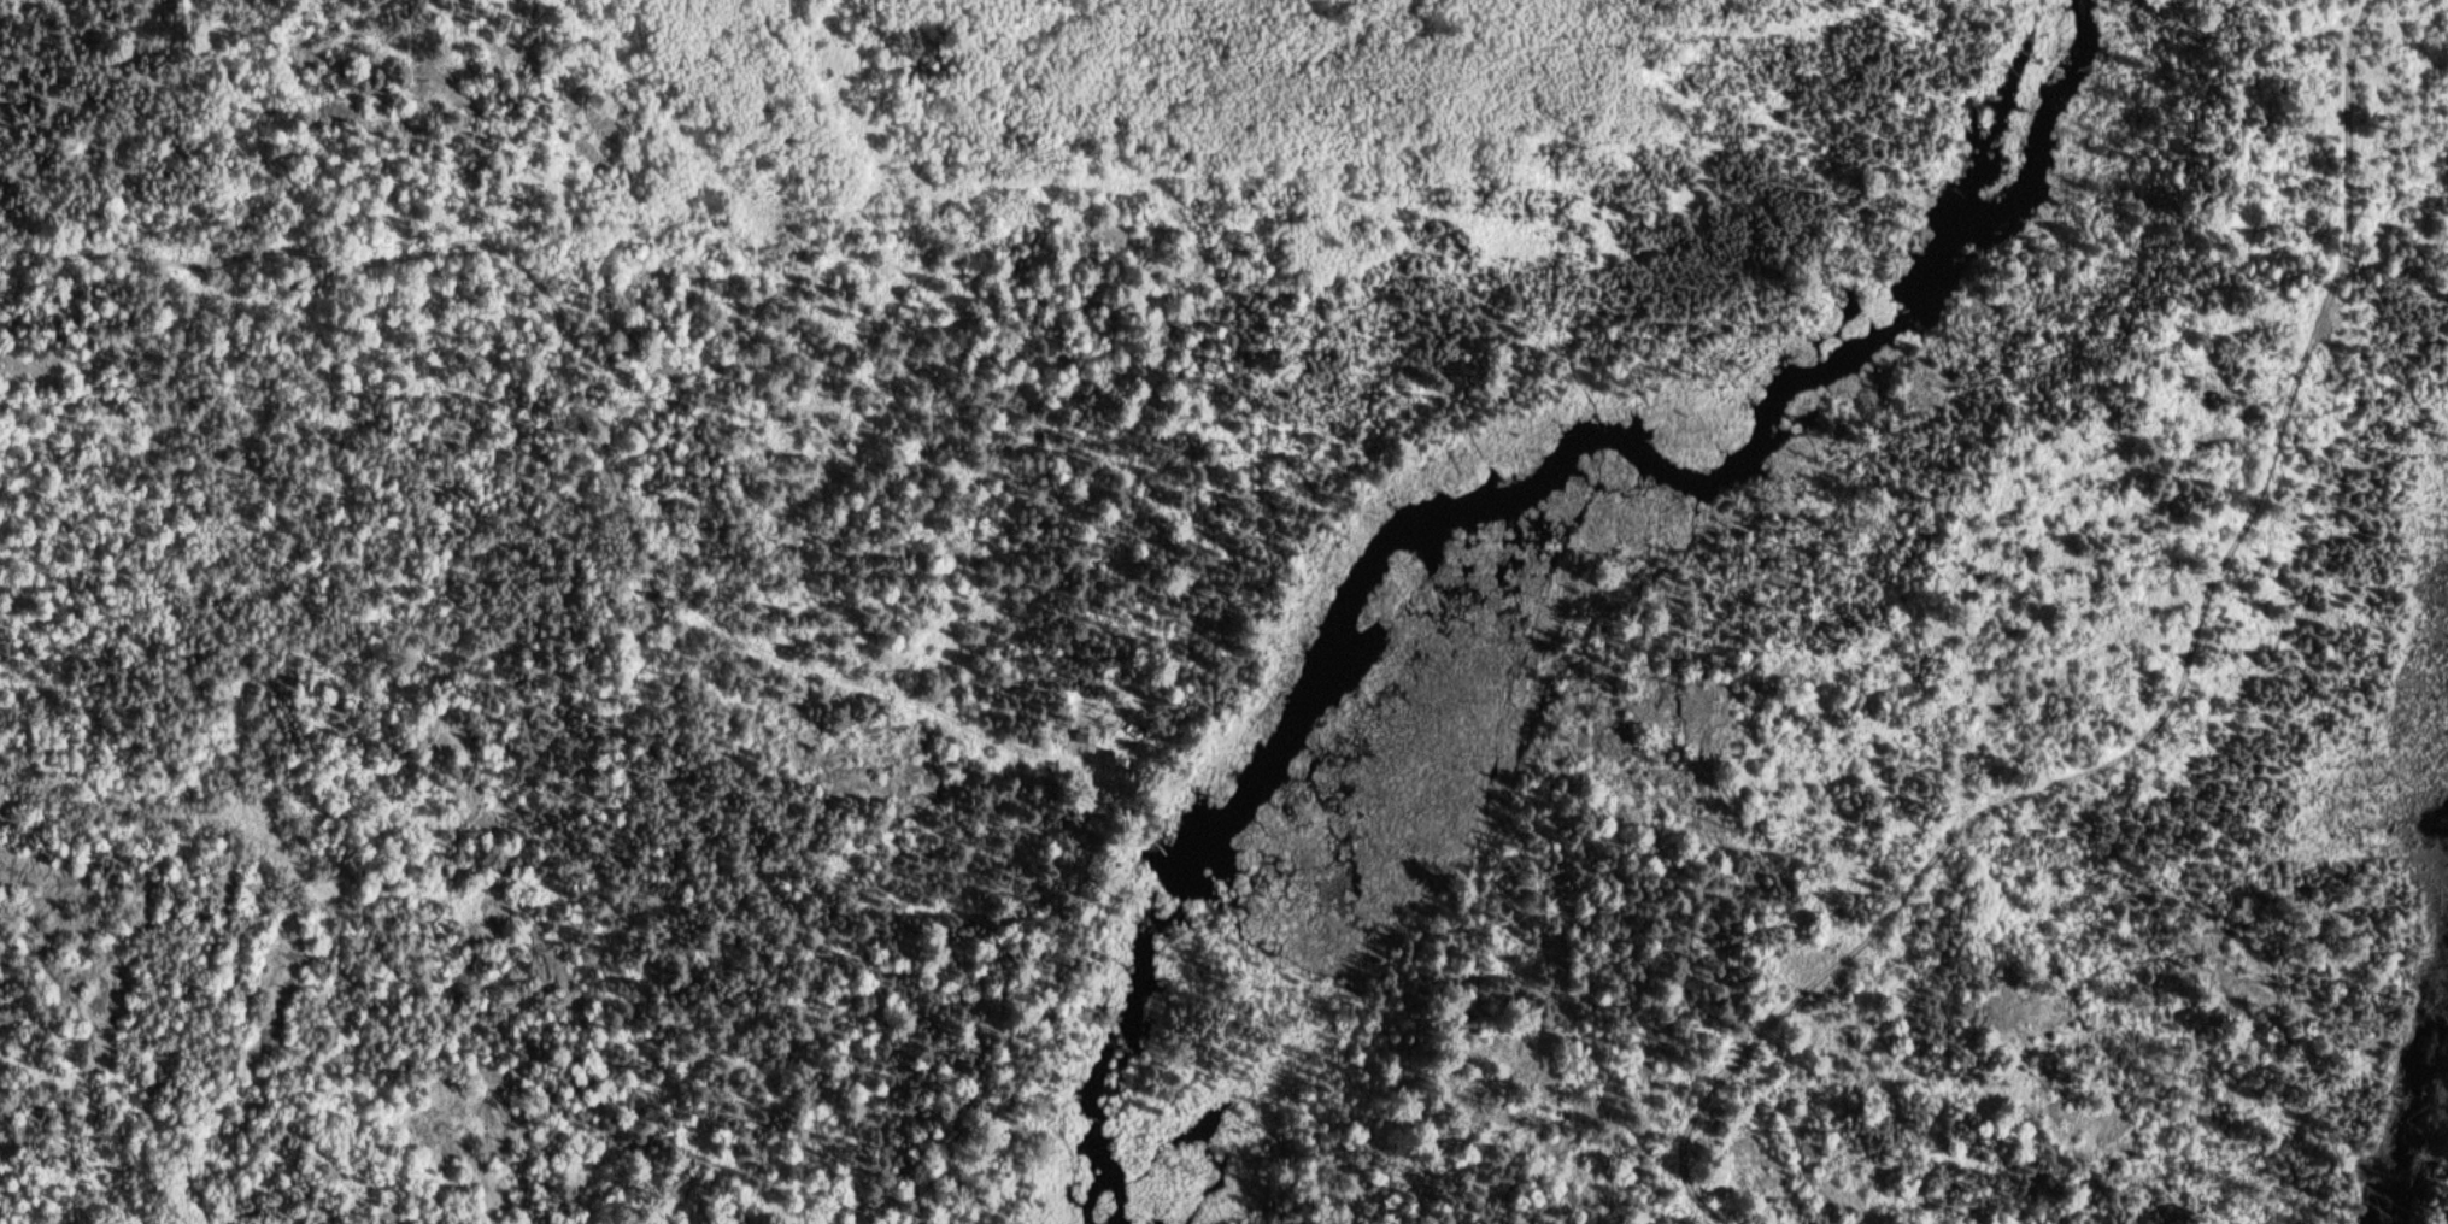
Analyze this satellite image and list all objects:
road: (699, 617)
road: (2180, 676)
building: (1125, 763)
road: (1666, 1160)

